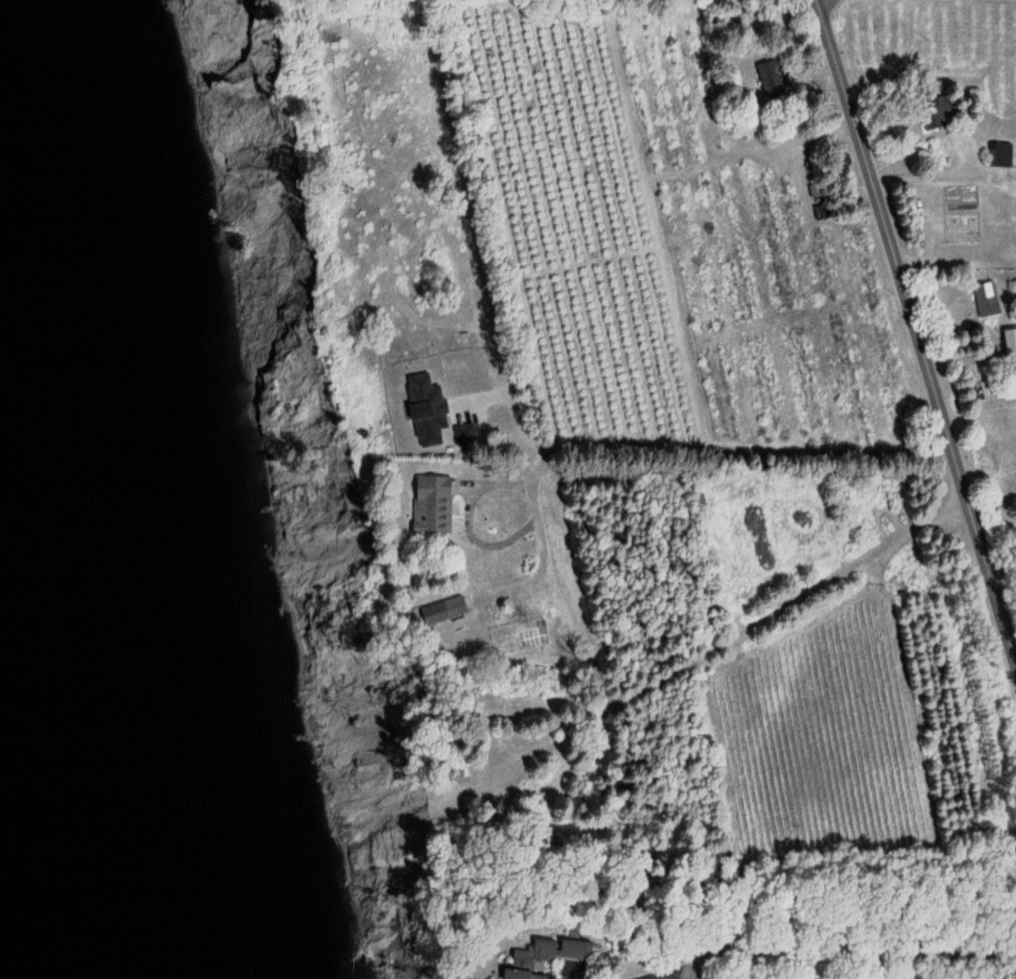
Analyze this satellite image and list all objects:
building: (774, 79)
building: (1005, 155)
building: (821, 202)
building: (990, 299)
road: (917, 330)
road: (695, 473)
building: (443, 504)
road: (791, 593)
building: (455, 610)
road: (847, 951)
building: (558, 956)

